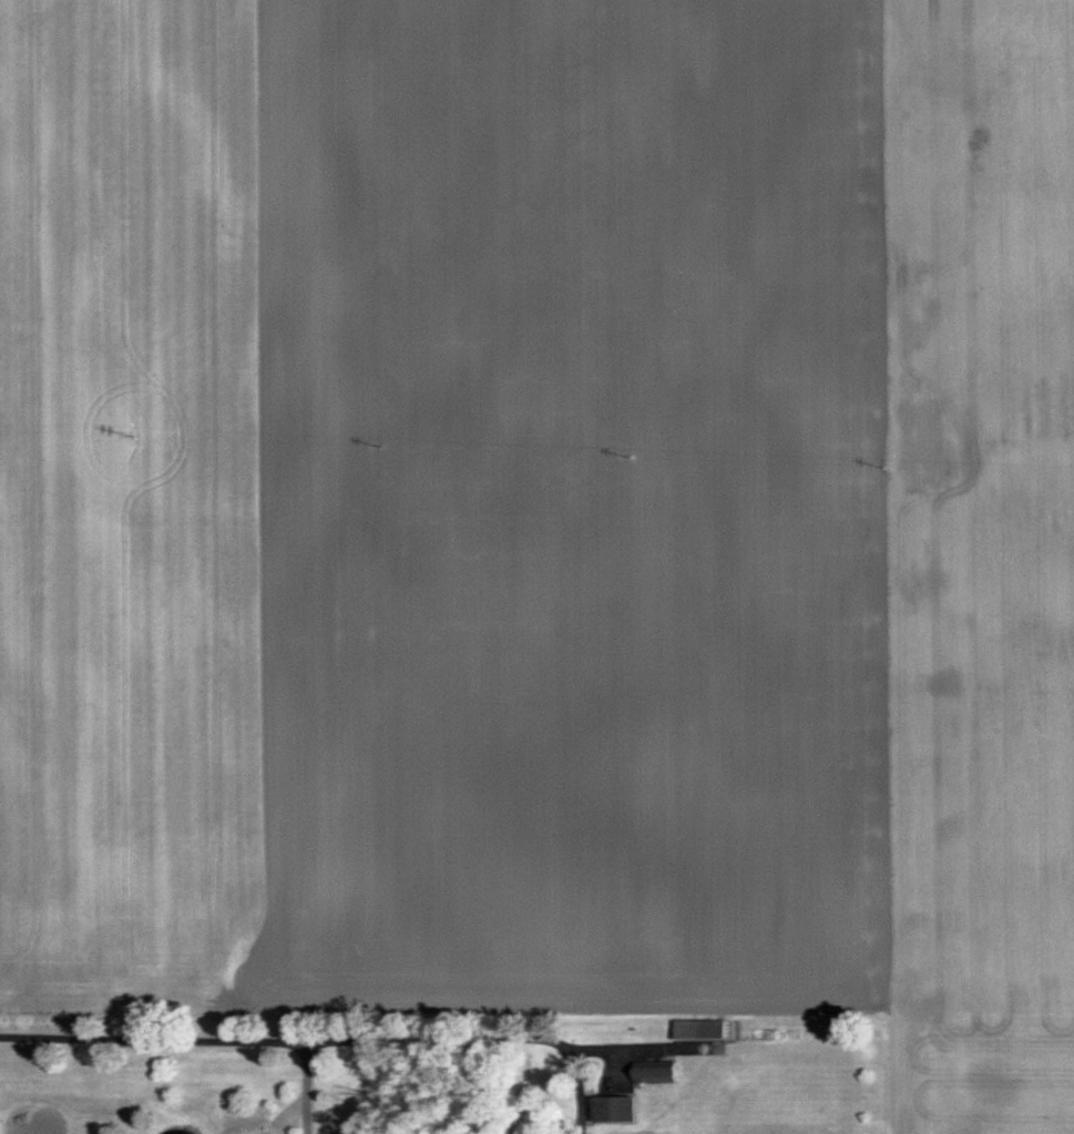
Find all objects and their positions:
building: (707, 1031)
road: (193, 1036)
road: (477, 1042)
building: (663, 1074)
building: (621, 1111)

